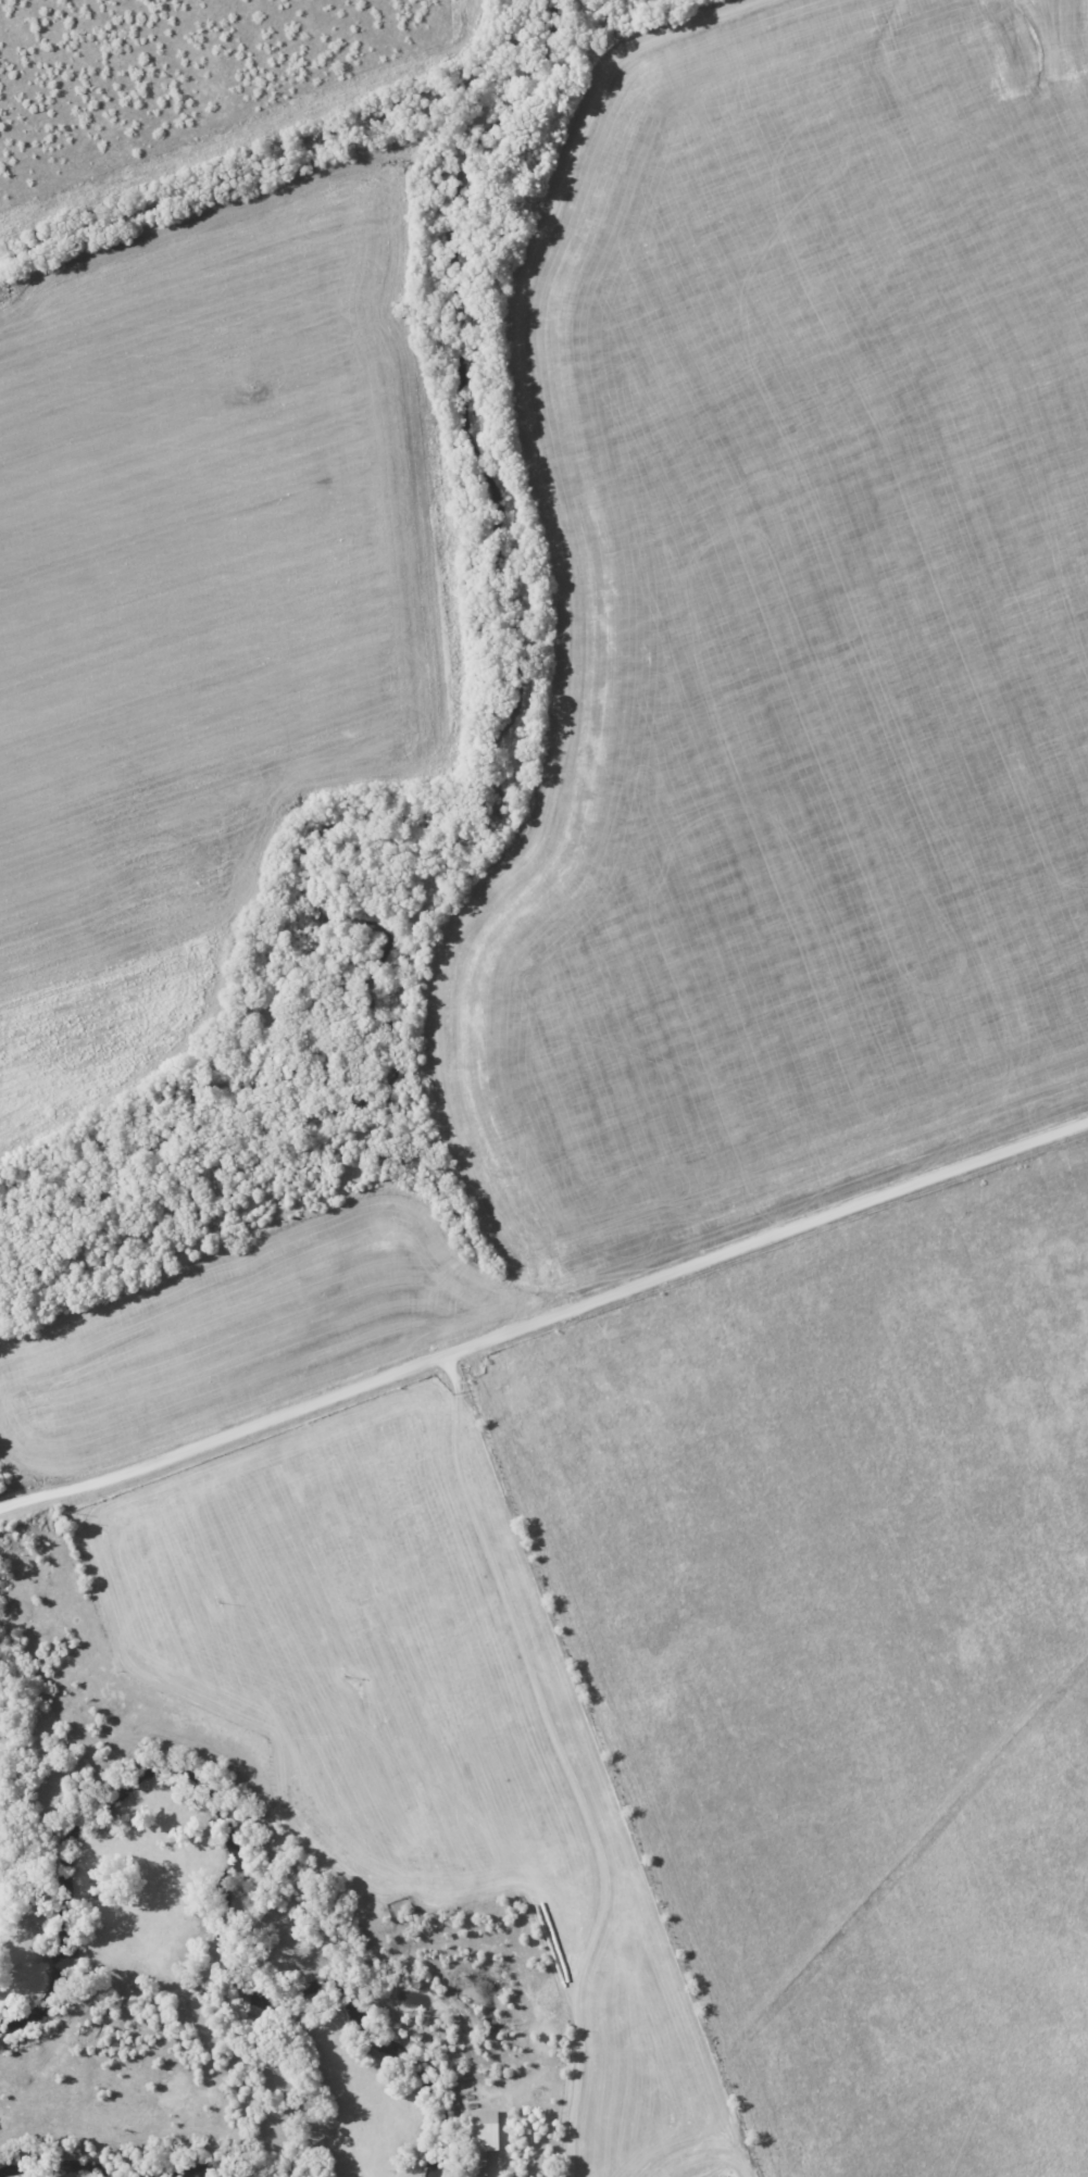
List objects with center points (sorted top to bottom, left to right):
road: (543, 1326)
road: (564, 1765)
building: (485, 2137)

